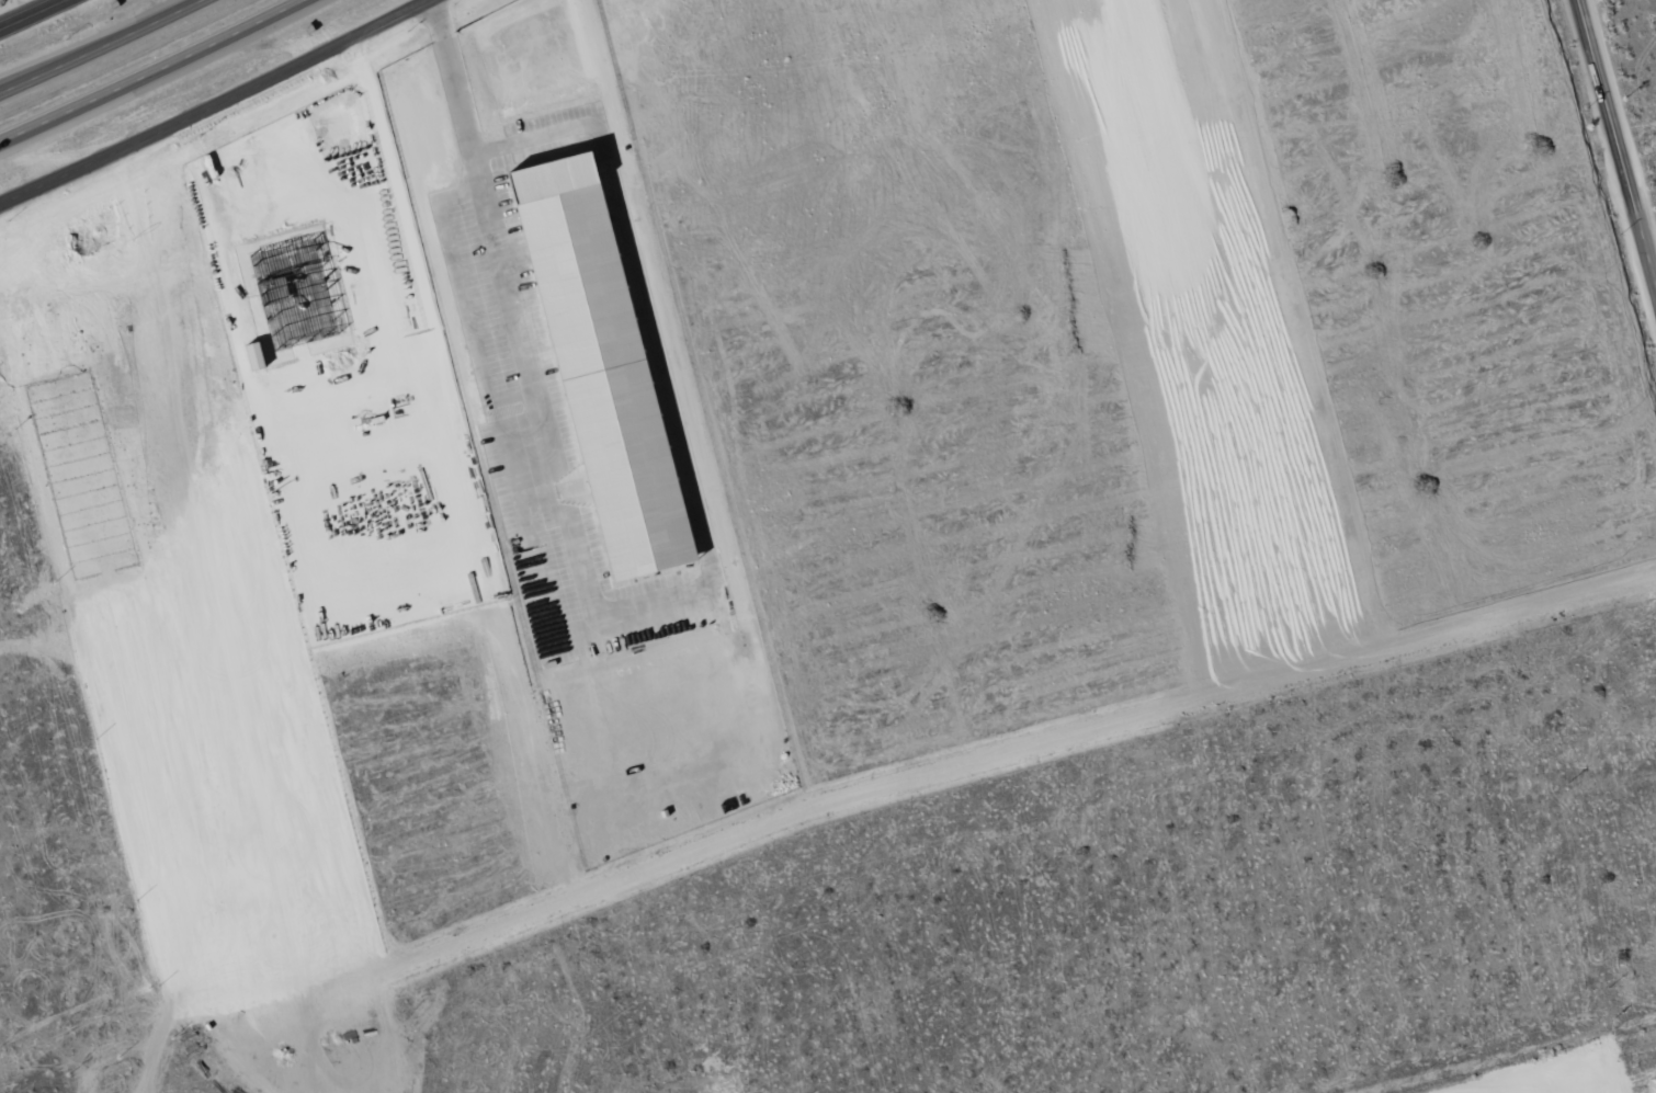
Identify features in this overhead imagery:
road: (38, 16)
road: (100, 46)
road: (149, 71)
road: (215, 104)
road: (1619, 137)
road: (950, 765)

